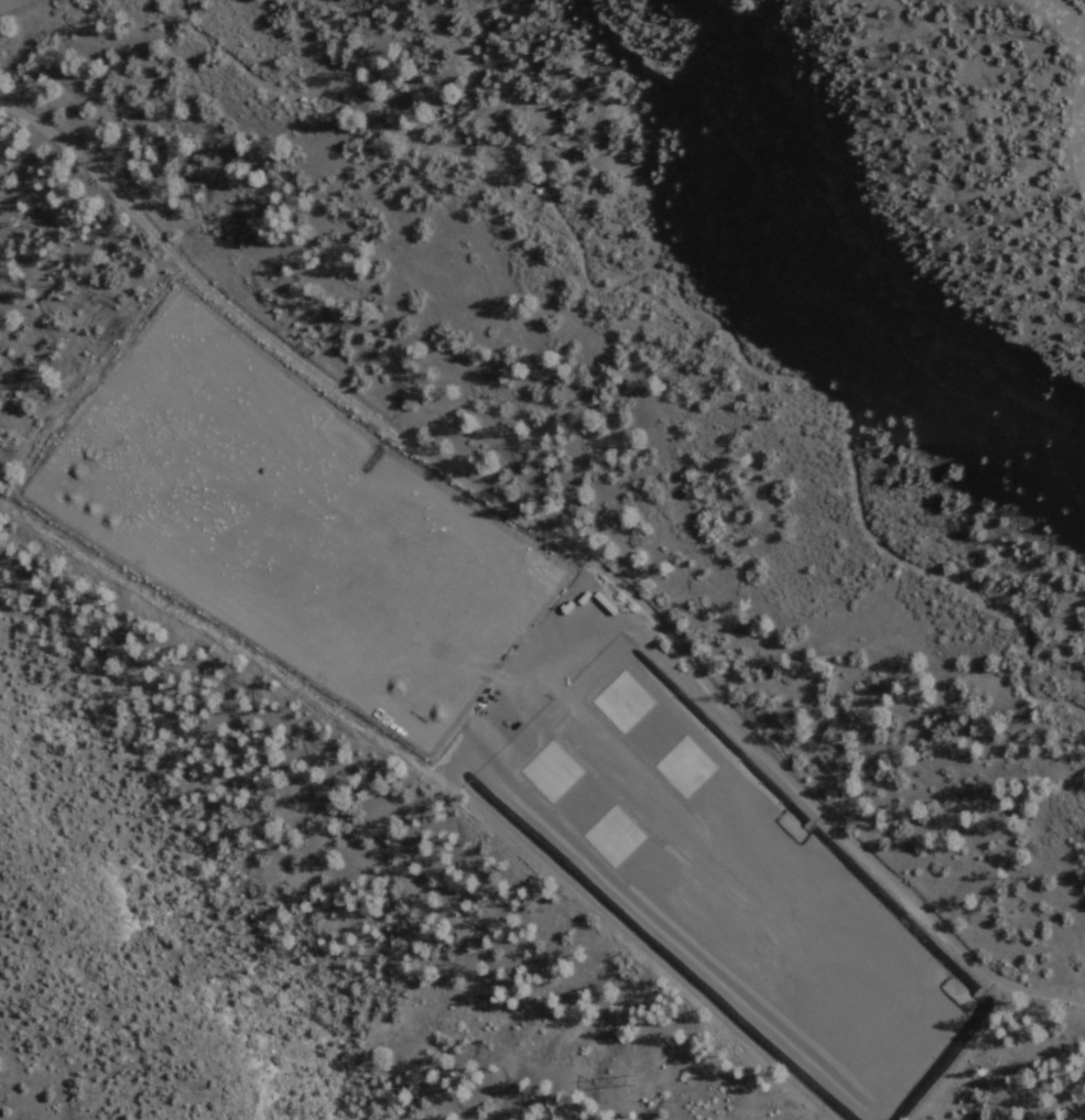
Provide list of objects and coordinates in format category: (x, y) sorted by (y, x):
road: (1067, 25)
road: (1084, 161)
parking lot: (308, 531)
road: (556, 542)

